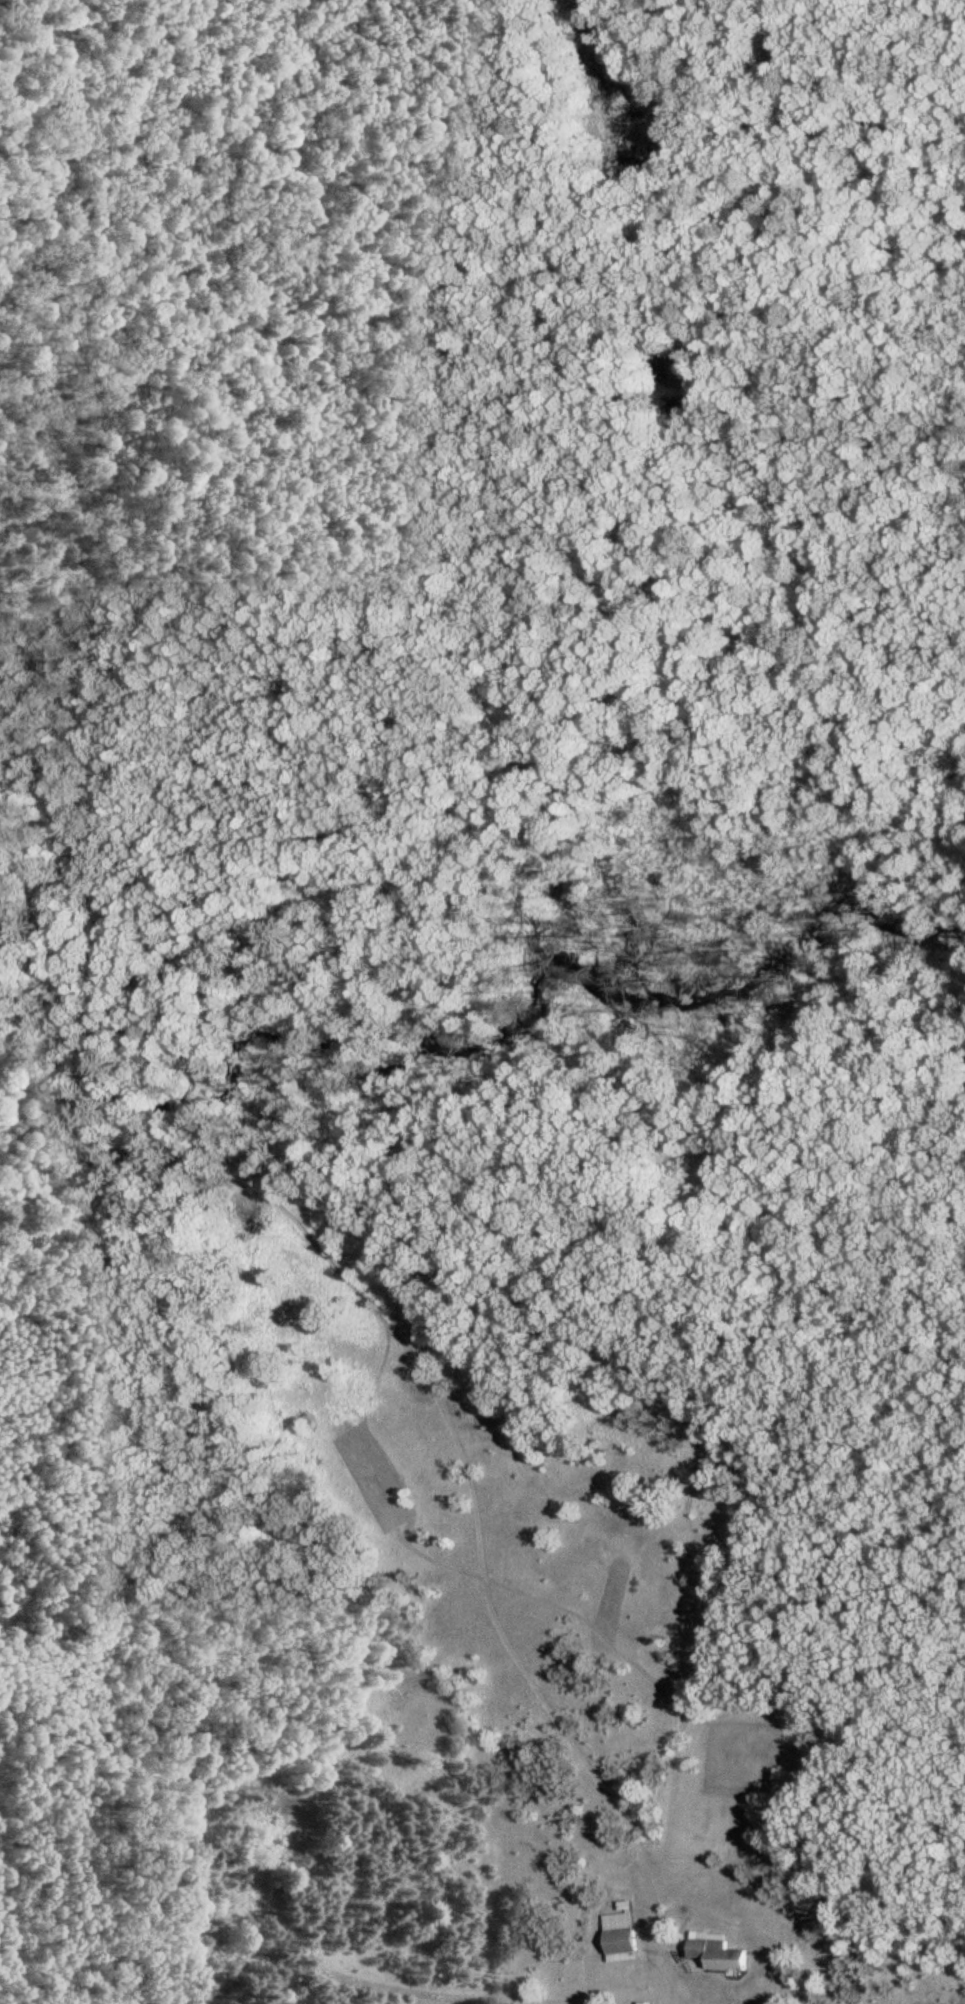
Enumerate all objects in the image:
building: (625, 1935)
building: (722, 1949)

